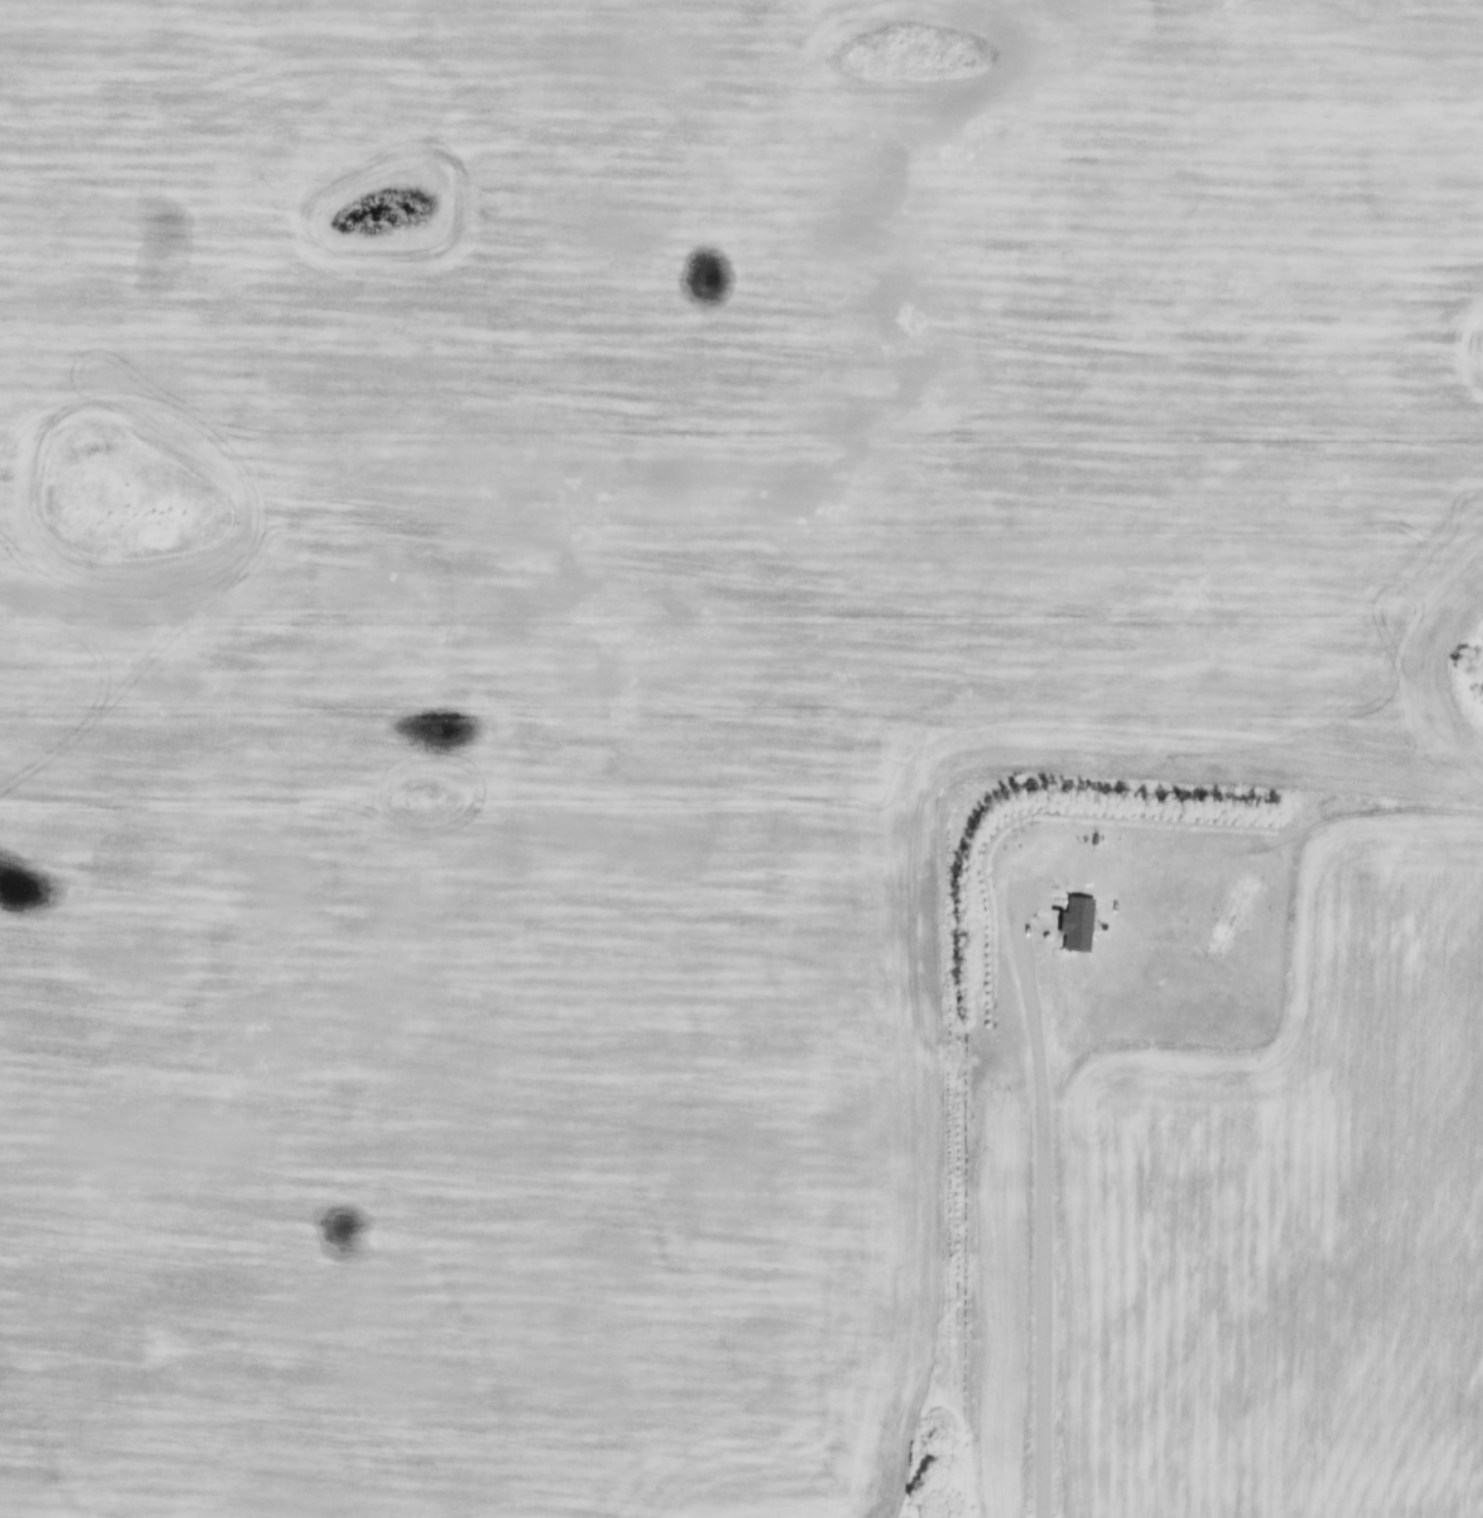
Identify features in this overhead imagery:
building: (1065, 915)
road: (1035, 1205)

